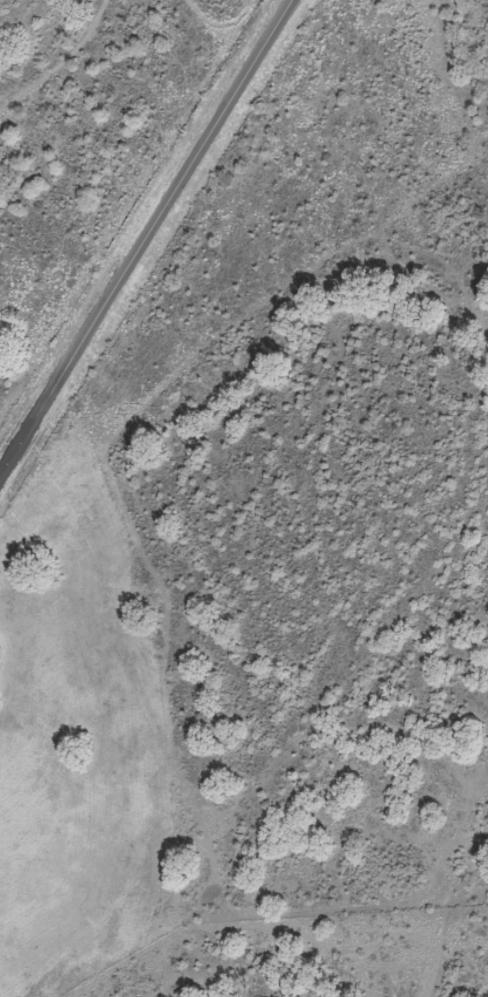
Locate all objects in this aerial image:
road: (146, 236)
road: (420, 913)

